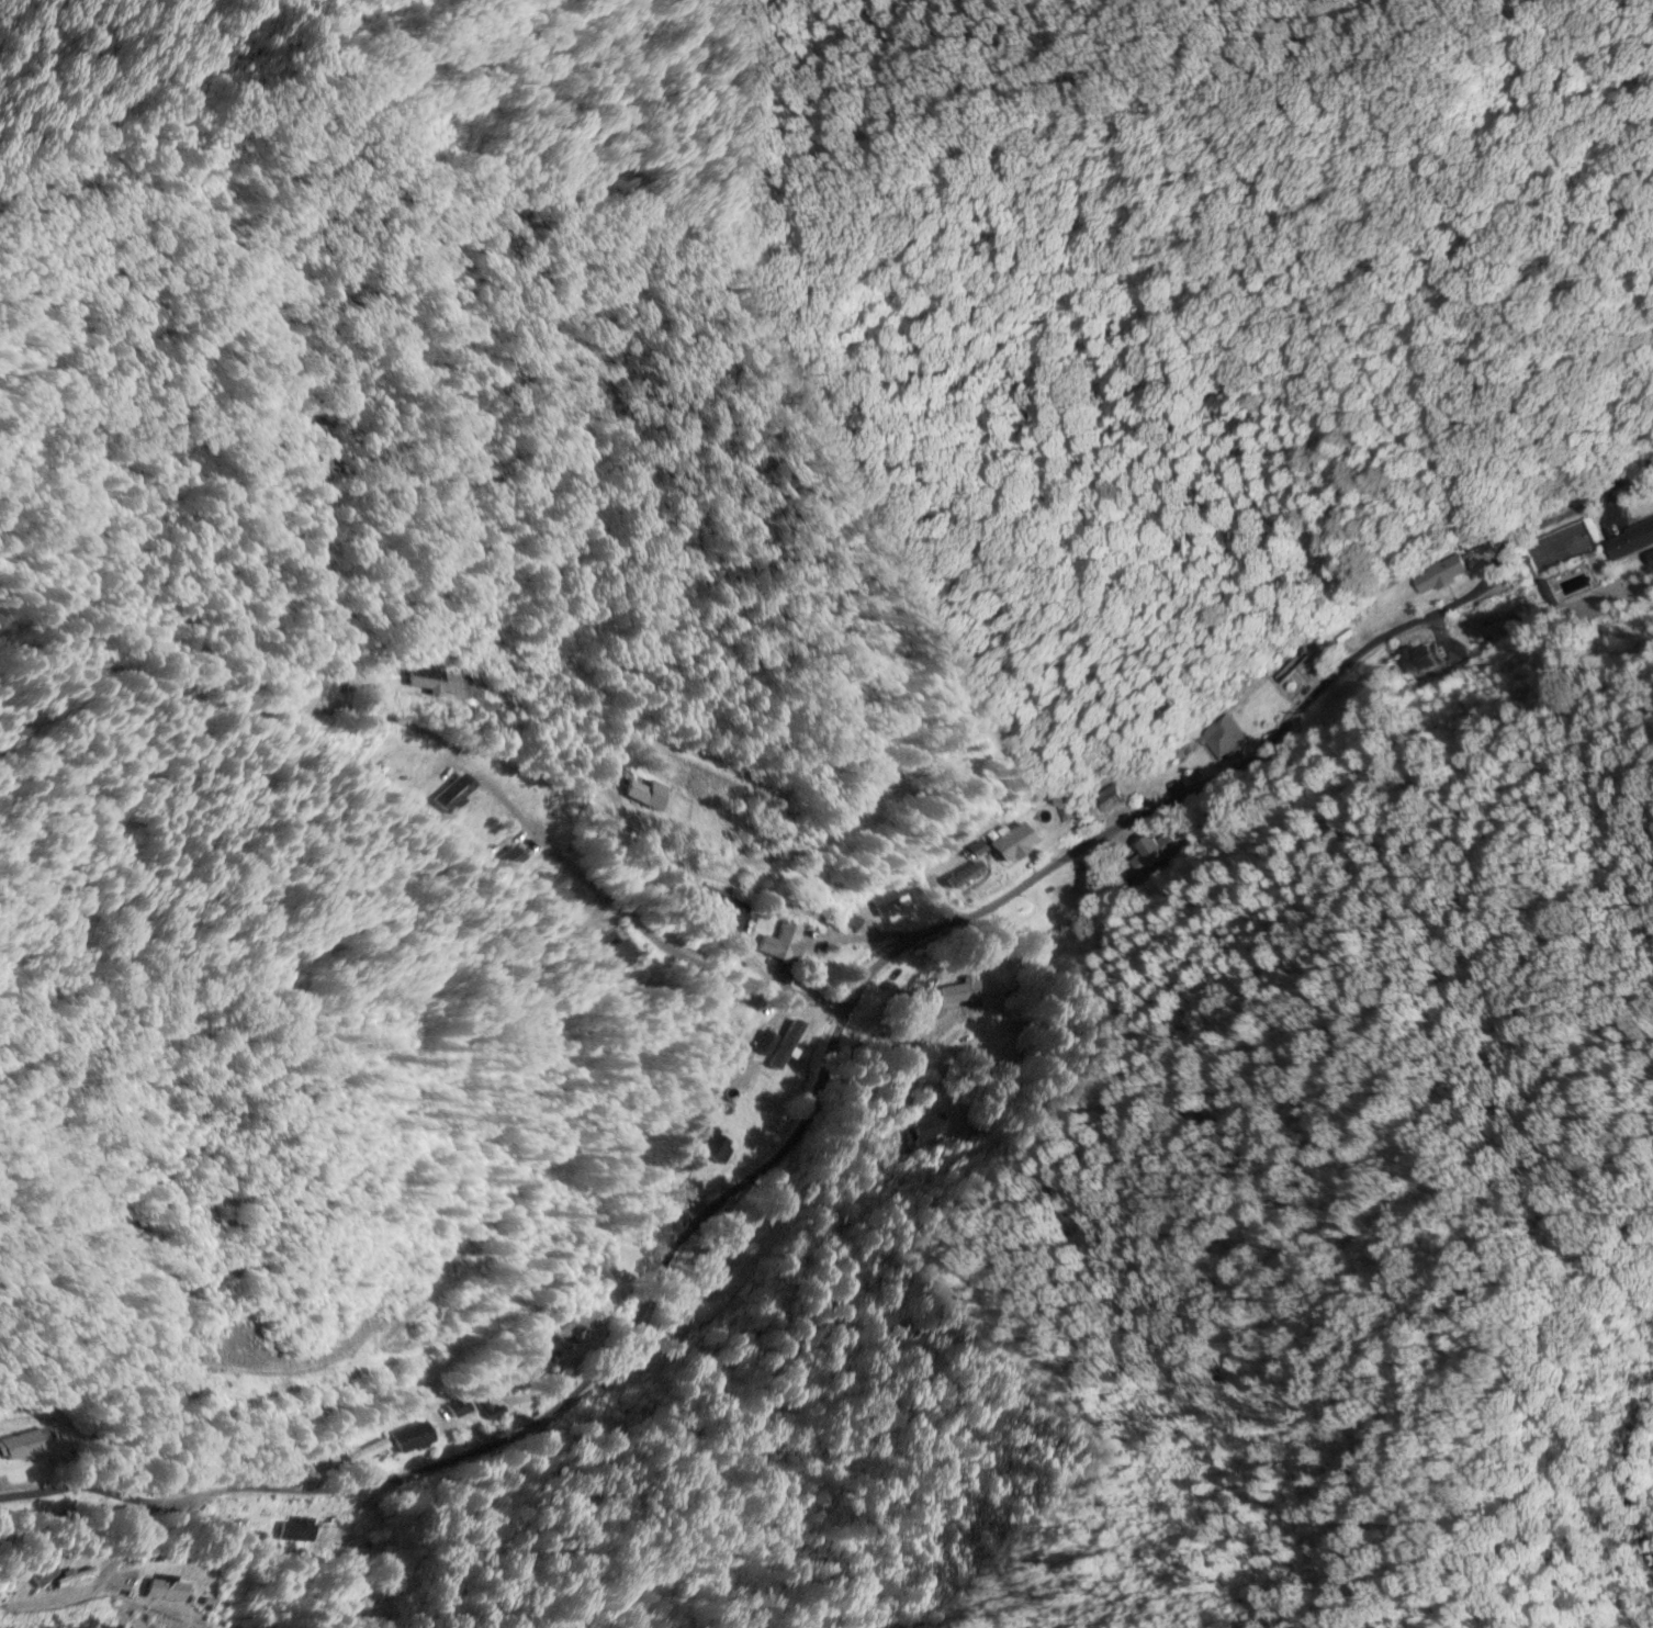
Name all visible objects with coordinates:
building: (1628, 542)
building: (1439, 576)
building: (1419, 662)
building: (1291, 667)
building: (430, 685)
building: (1221, 740)
building: (632, 791)
building: (1011, 845)
building: (1160, 852)
building: (964, 878)
road: (593, 885)
building: (1061, 897)
building: (895, 906)
building: (783, 945)
building: (956, 995)
road: (823, 1066)
building: (922, 1131)
building: (712, 1152)
building: (706, 1276)
building: (452, 1412)
building: (406, 1440)
building: (20, 1448)
building: (363, 1456)
building: (240, 1527)
building: (305, 1531)
building: (35, 1576)

